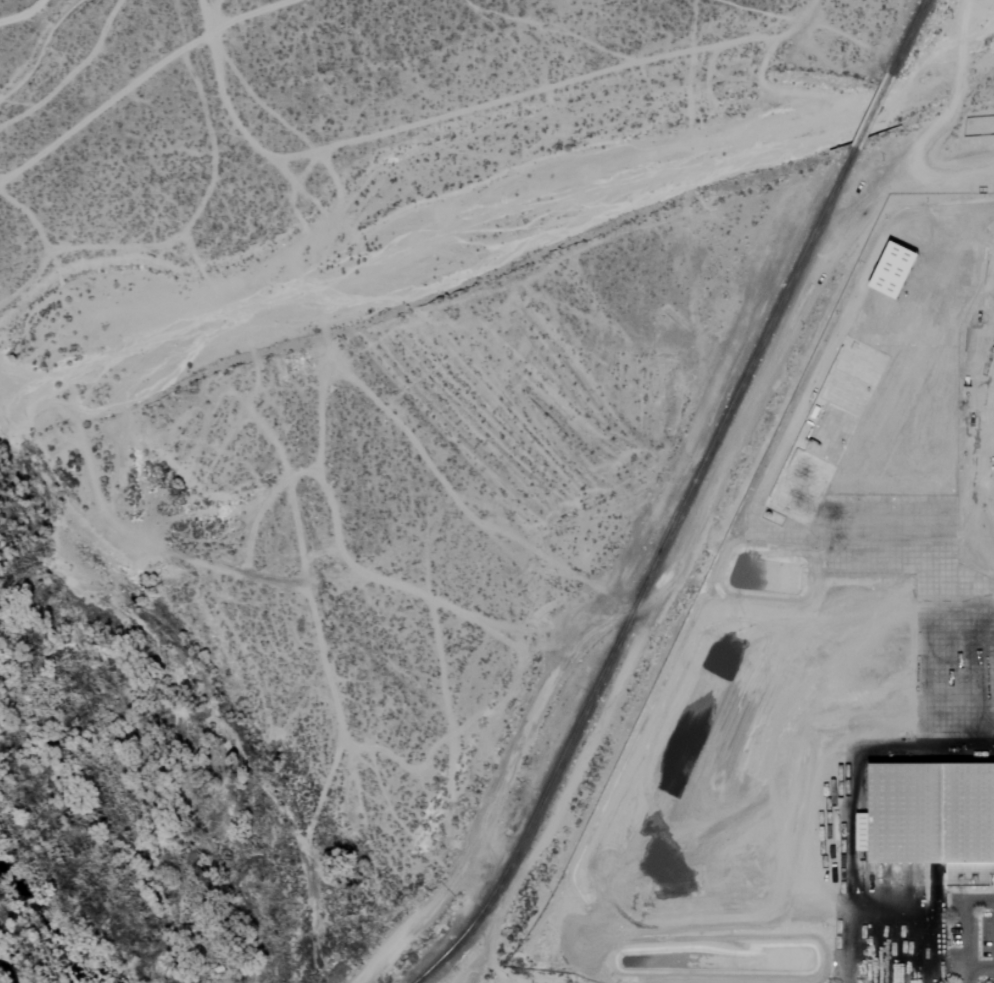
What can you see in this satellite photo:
railway: (908, 38)
railway: (872, 112)
road: (943, 168)
road: (698, 513)
railway: (649, 575)
road: (846, 794)
road: (566, 797)
road: (927, 926)
road: (974, 968)

